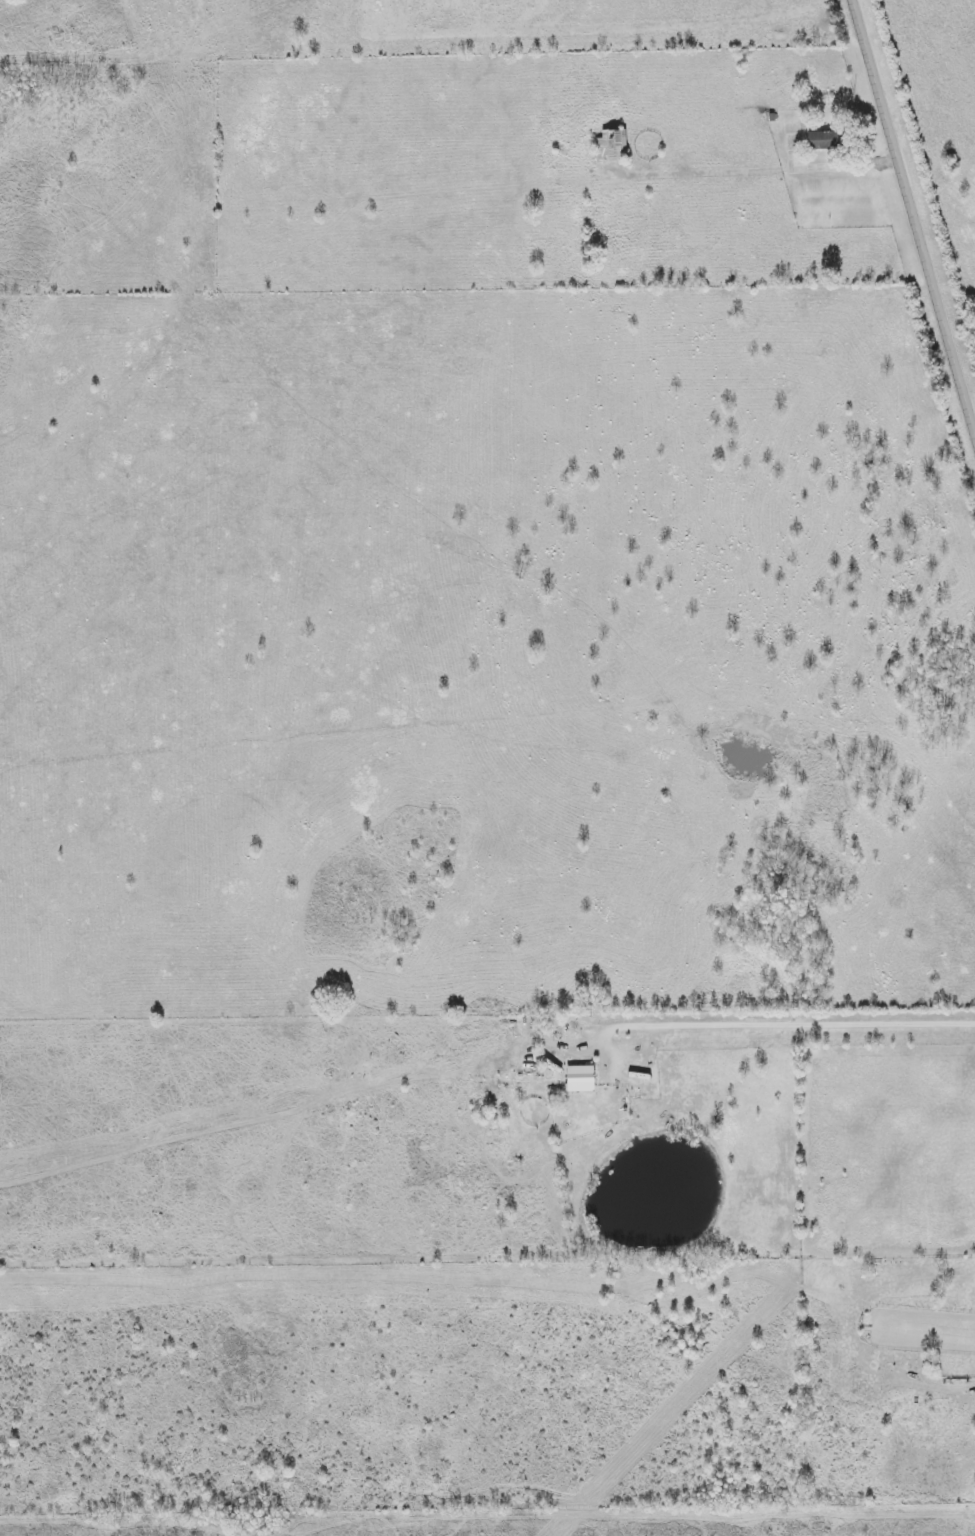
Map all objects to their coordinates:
building: (822, 140)
building: (609, 145)
road: (836, 166)
road: (913, 215)
road: (783, 1017)
building: (564, 1026)
building: (568, 1074)

